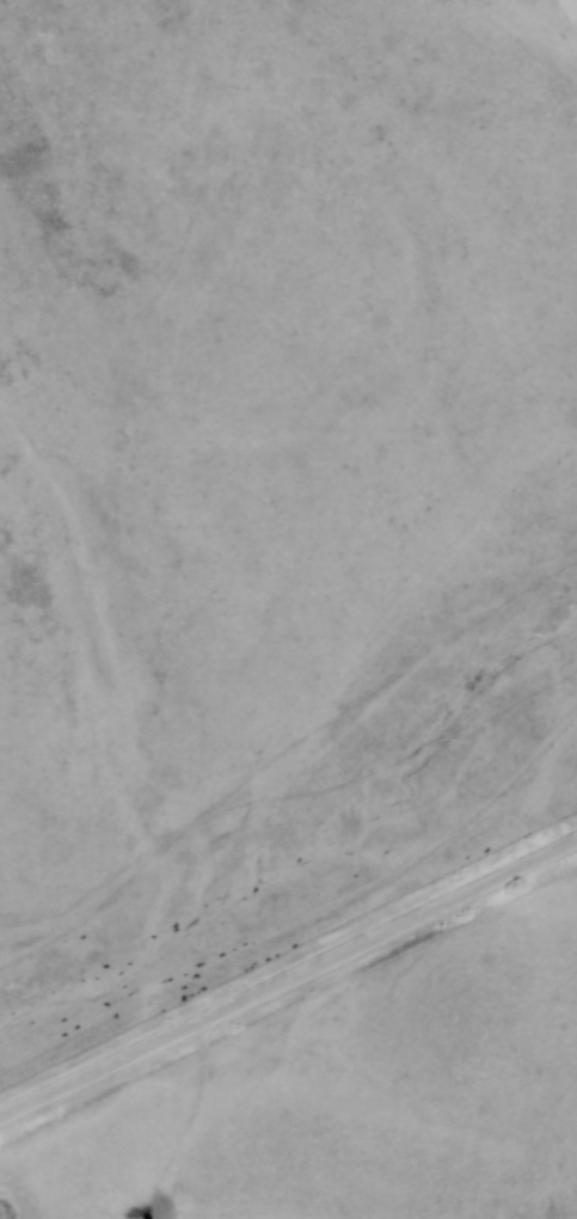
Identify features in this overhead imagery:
road: (288, 981)

